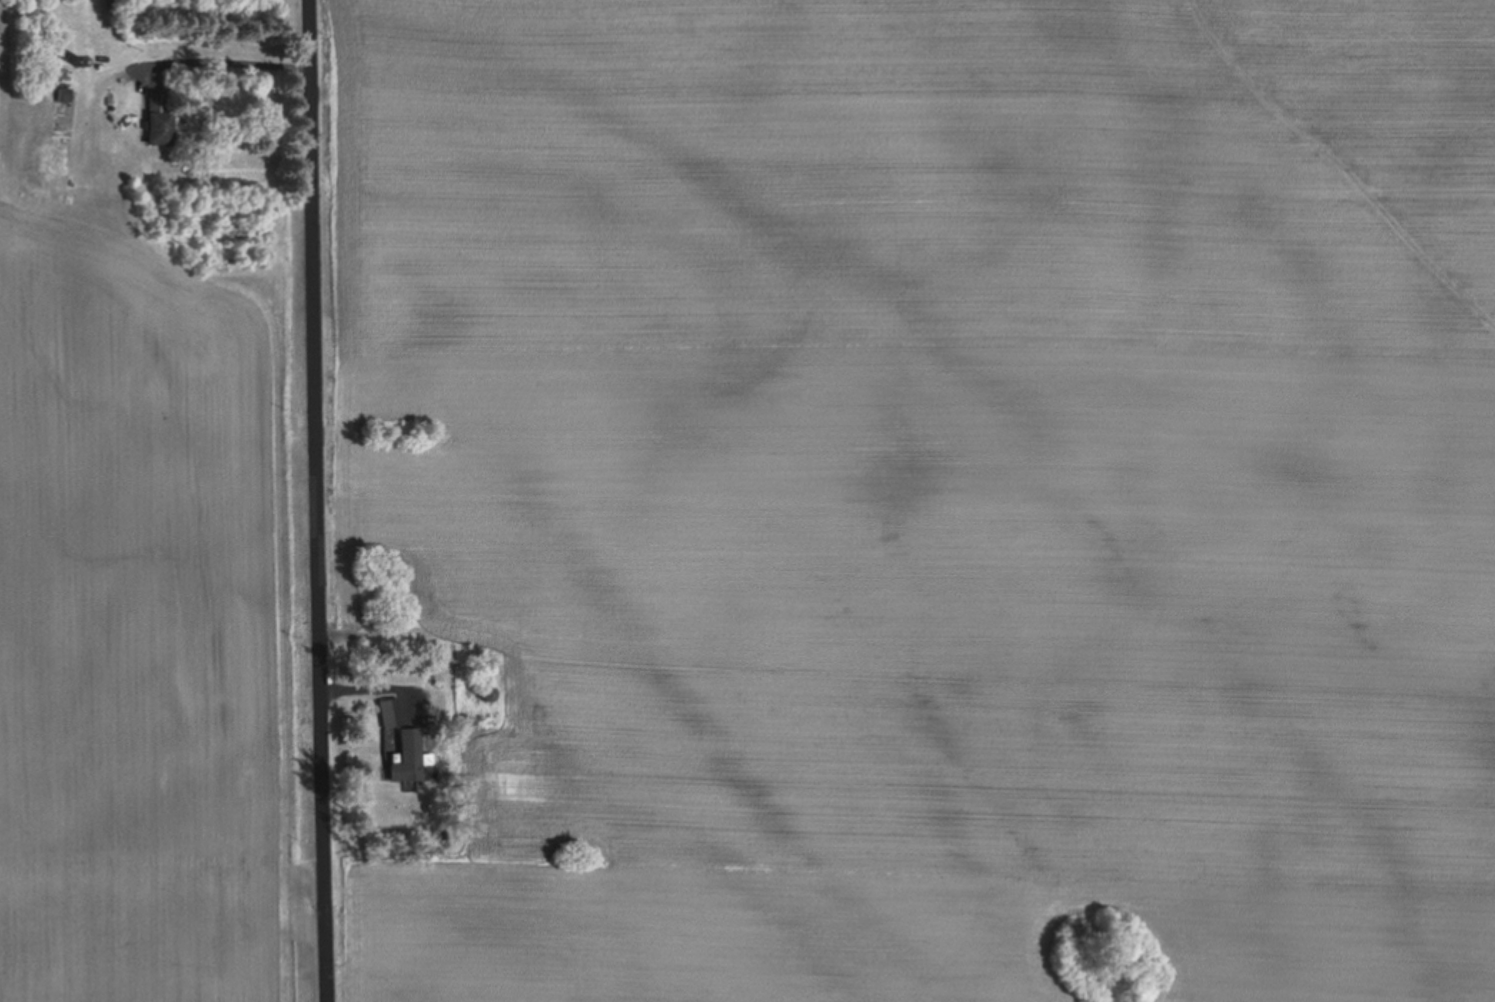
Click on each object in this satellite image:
building: (159, 130)
road: (320, 501)
building: (486, 695)
building: (390, 715)
building: (408, 759)

